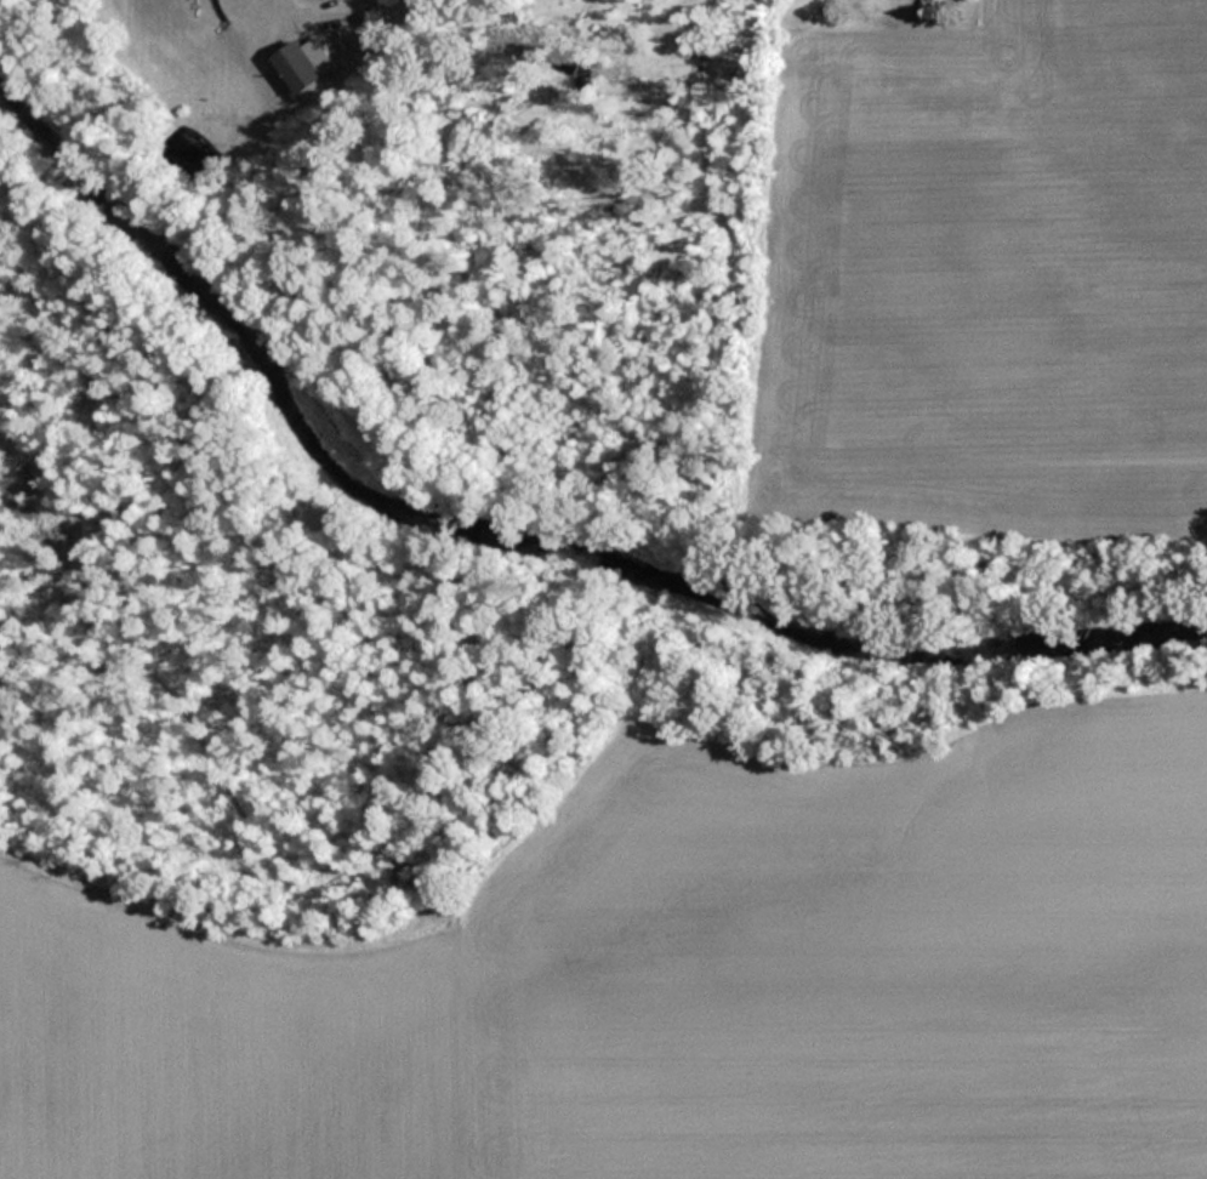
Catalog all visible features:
building: (306, 64)

